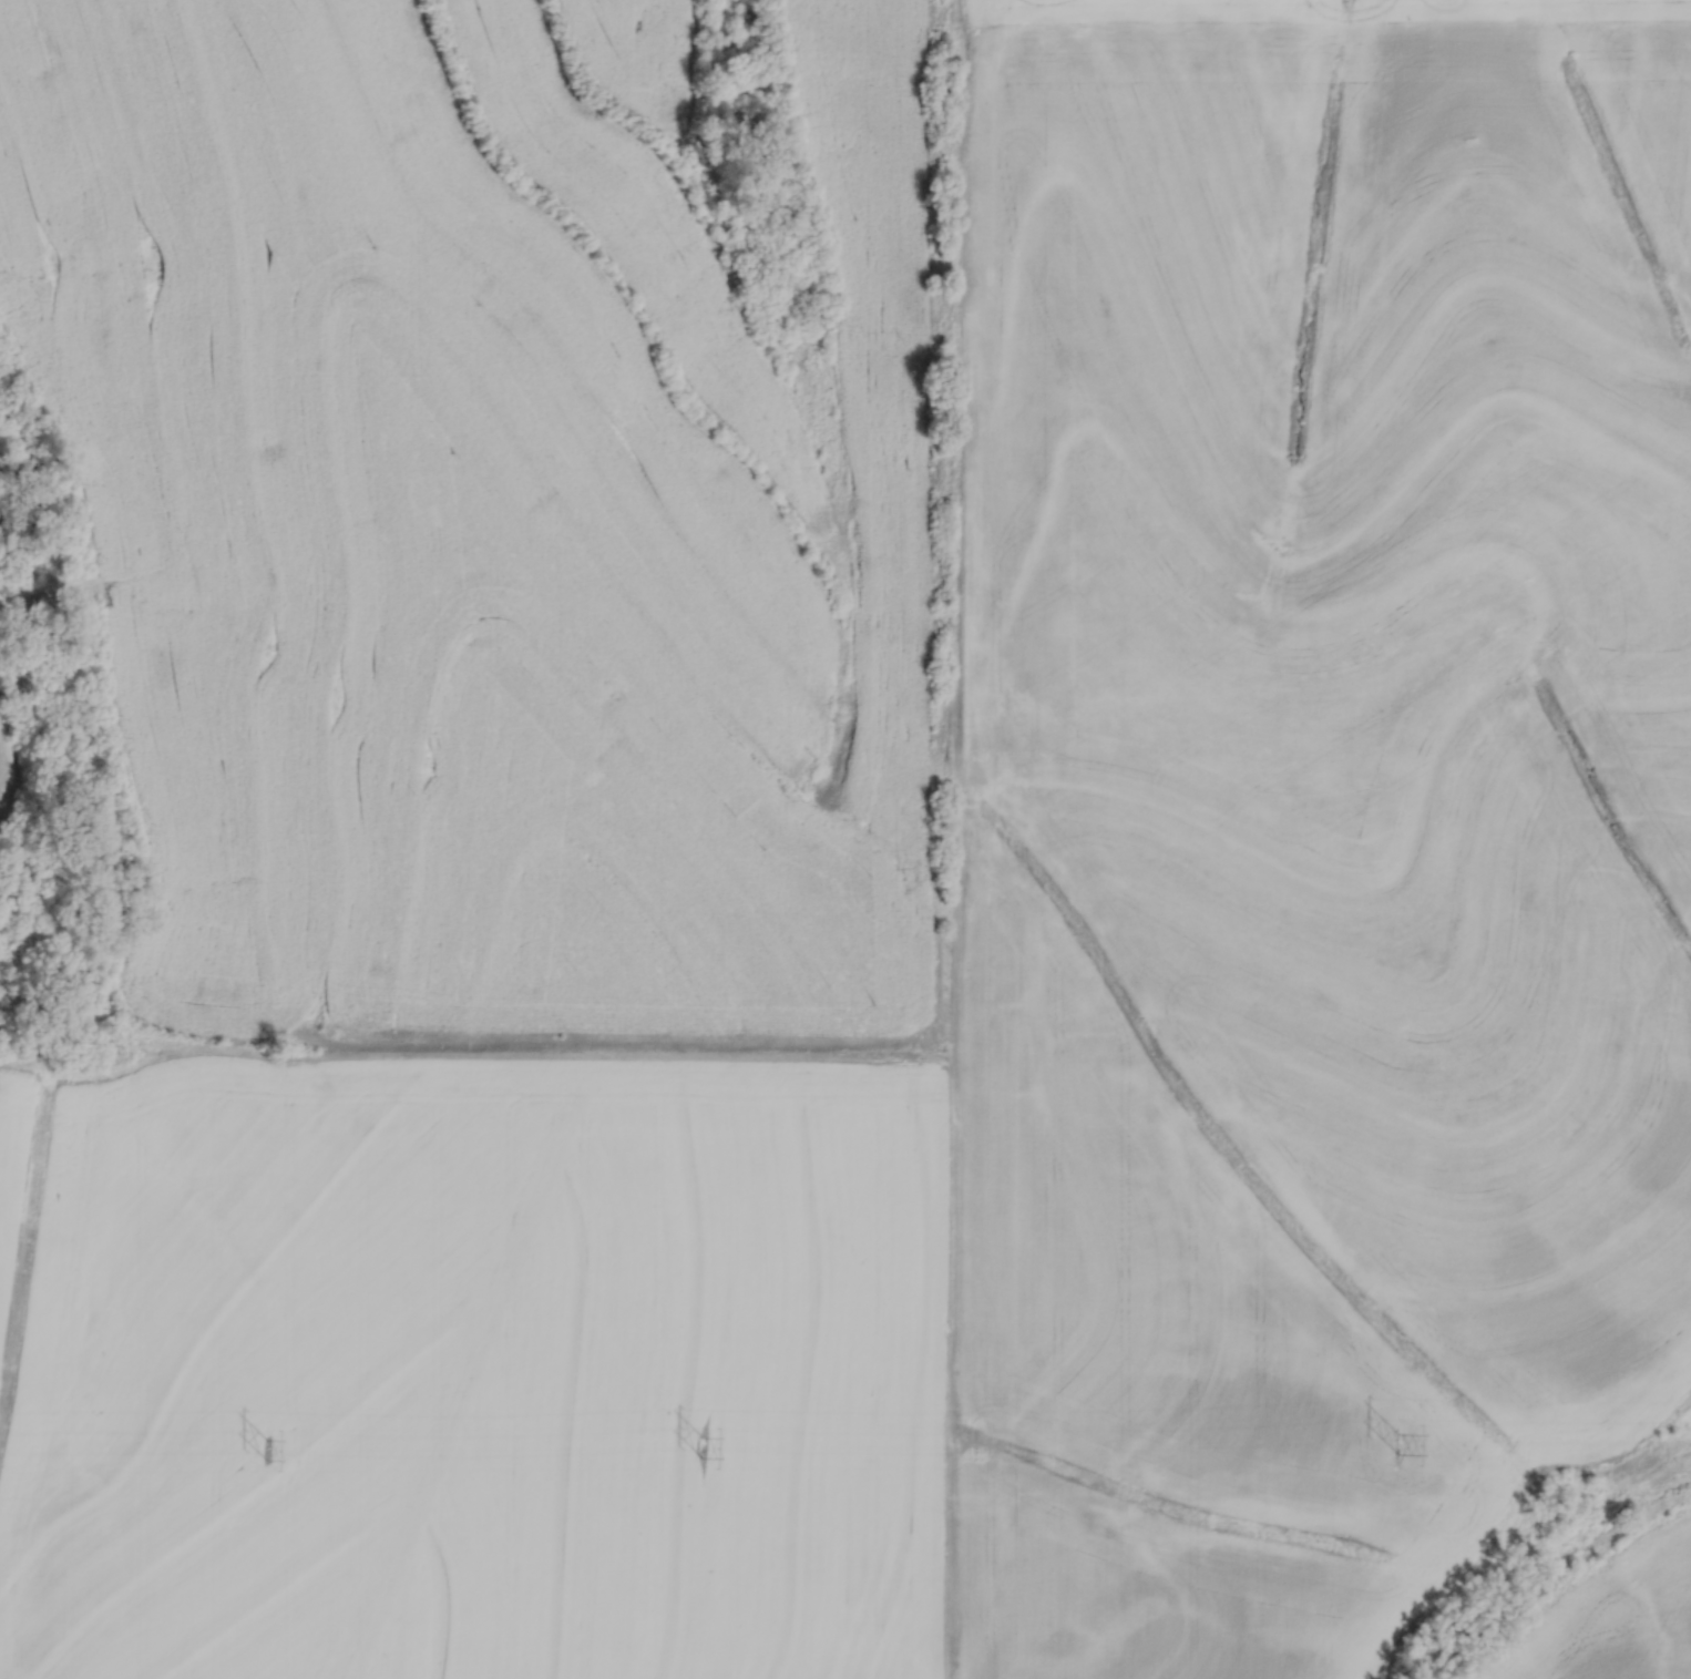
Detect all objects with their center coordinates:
power tower: (1397, 1440)
power tower: (704, 1444)
power tower: (266, 1446)
crop: (1612, 1617)

